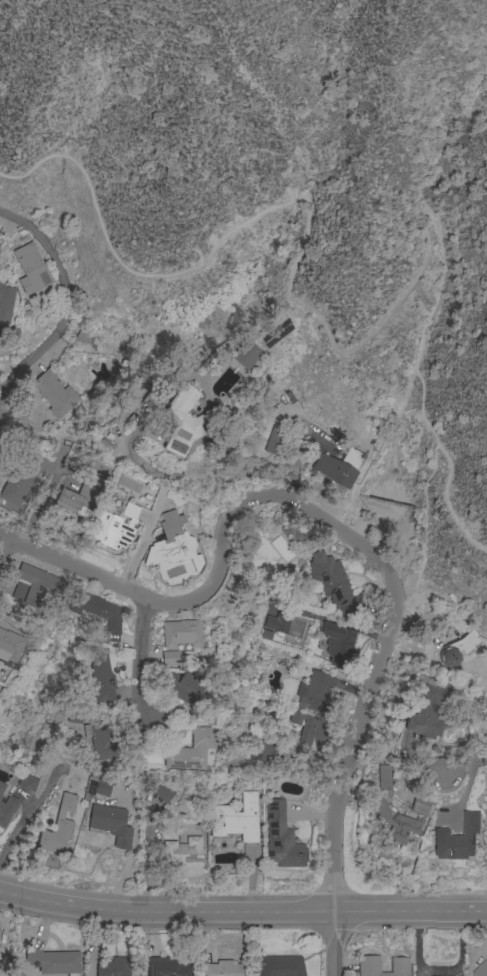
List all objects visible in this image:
building: (31, 269)
road: (66, 302)
building: (5, 304)
building: (86, 336)
road: (327, 339)
building: (240, 354)
building: (54, 394)
building: (138, 414)
building: (182, 420)
building: (274, 440)
building: (29, 461)
building: (337, 468)
building: (16, 487)
building: (76, 500)
road: (154, 510)
road: (388, 517)
road: (424, 527)
building: (115, 528)
road: (1, 538)
building: (172, 544)
road: (223, 556)
building: (333, 584)
building: (36, 586)
building: (96, 612)
building: (278, 623)
building: (180, 634)
building: (337, 644)
building: (10, 649)
building: (457, 650)
road: (140, 658)
building: (170, 659)
building: (97, 679)
building: (179, 687)
building: (315, 692)
building: (194, 714)
building: (424, 714)
building: (176, 730)
building: (305, 734)
building: (99, 740)
building: (264, 748)
building: (191, 751)
road: (464, 768)
building: (384, 778)
building: (28, 783)
road: (341, 786)
building: (1, 789)
building: (103, 789)
building: (163, 793)
road: (467, 793)
road: (36, 800)
building: (7, 810)
building: (390, 820)
building: (110, 824)
building: (240, 824)
building: (58, 826)
building: (282, 839)
building: (458, 839)
building: (486, 848)
building: (183, 852)
road: (242, 913)
building: (53, 962)
building: (369, 965)
building: (281, 966)
building: (115, 967)
building: (166, 967)
building: (222, 969)
building: (481, 969)

